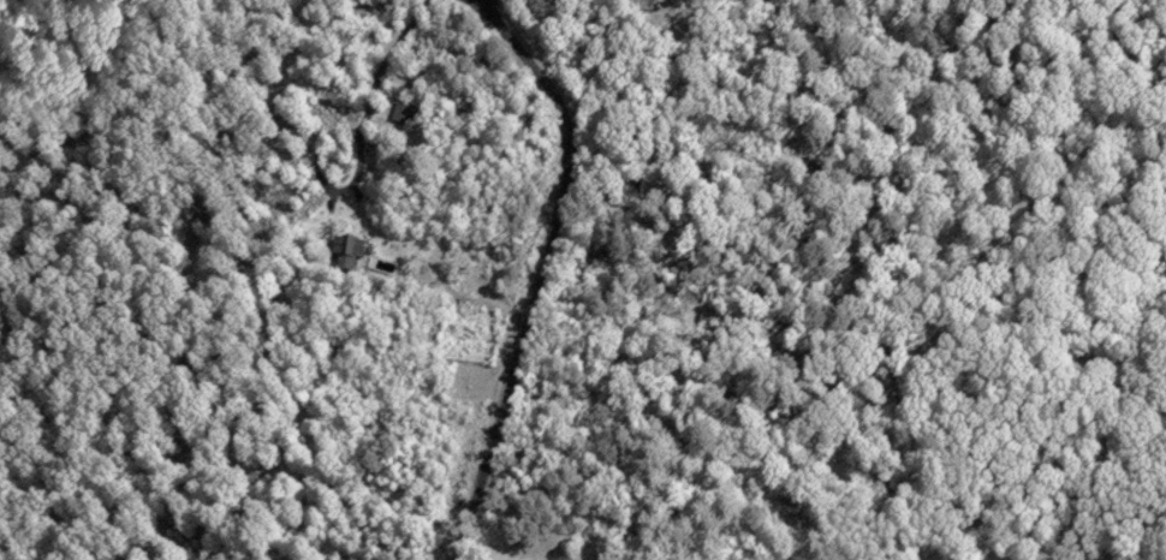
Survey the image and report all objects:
building: (350, 249)
road: (920, 371)
road: (1101, 453)

